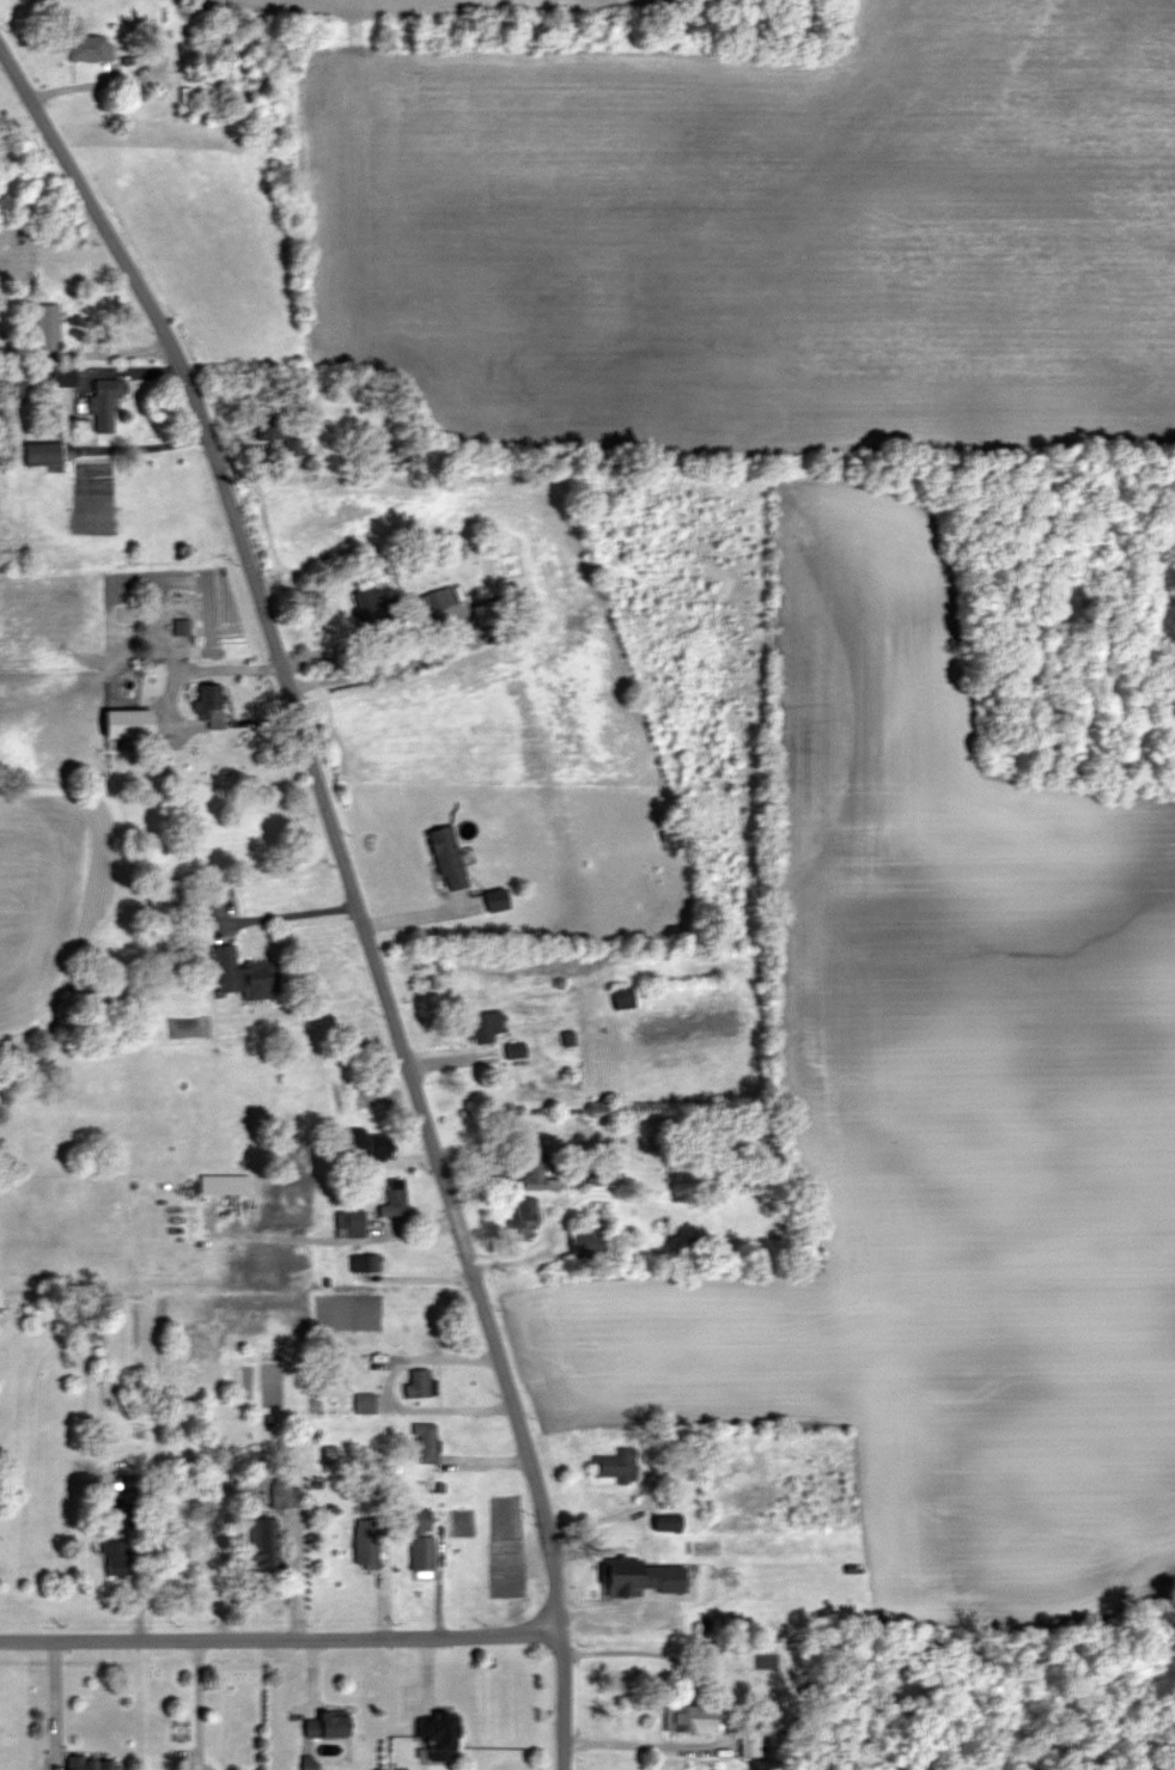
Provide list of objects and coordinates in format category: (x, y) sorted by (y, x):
building: (87, 48)
building: (45, 326)
building: (62, 376)
building: (104, 403)
building: (274, 430)
building: (42, 454)
building: (434, 601)
building: (1079, 604)
building: (373, 607)
building: (482, 619)
road: (455, 627)
road: (203, 671)
building: (209, 706)
building: (129, 725)
building: (446, 857)
road: (352, 886)
road: (287, 916)
building: (243, 974)
building: (622, 997)
building: (483, 1027)
building: (369, 1143)
building: (537, 1176)
building: (223, 1184)
building: (392, 1202)
building: (525, 1209)
building: (349, 1223)
building: (587, 1241)
building: (365, 1263)
building: (418, 1383)
building: (363, 1403)
building: (426, 1442)
building: (615, 1466)
building: (284, 1494)
building: (815, 1509)
building: (666, 1523)
building: (421, 1539)
building: (365, 1541)
building: (262, 1543)
building: (117, 1557)
road: (296, 1577)
building: (644, 1577)
road: (287, 1641)
road: (197, 1702)
road: (54, 1707)
road: (727, 1709)
building: (689, 1717)
building: (327, 1726)
building: (438, 1732)
building: (748, 1744)
building: (89, 1763)

